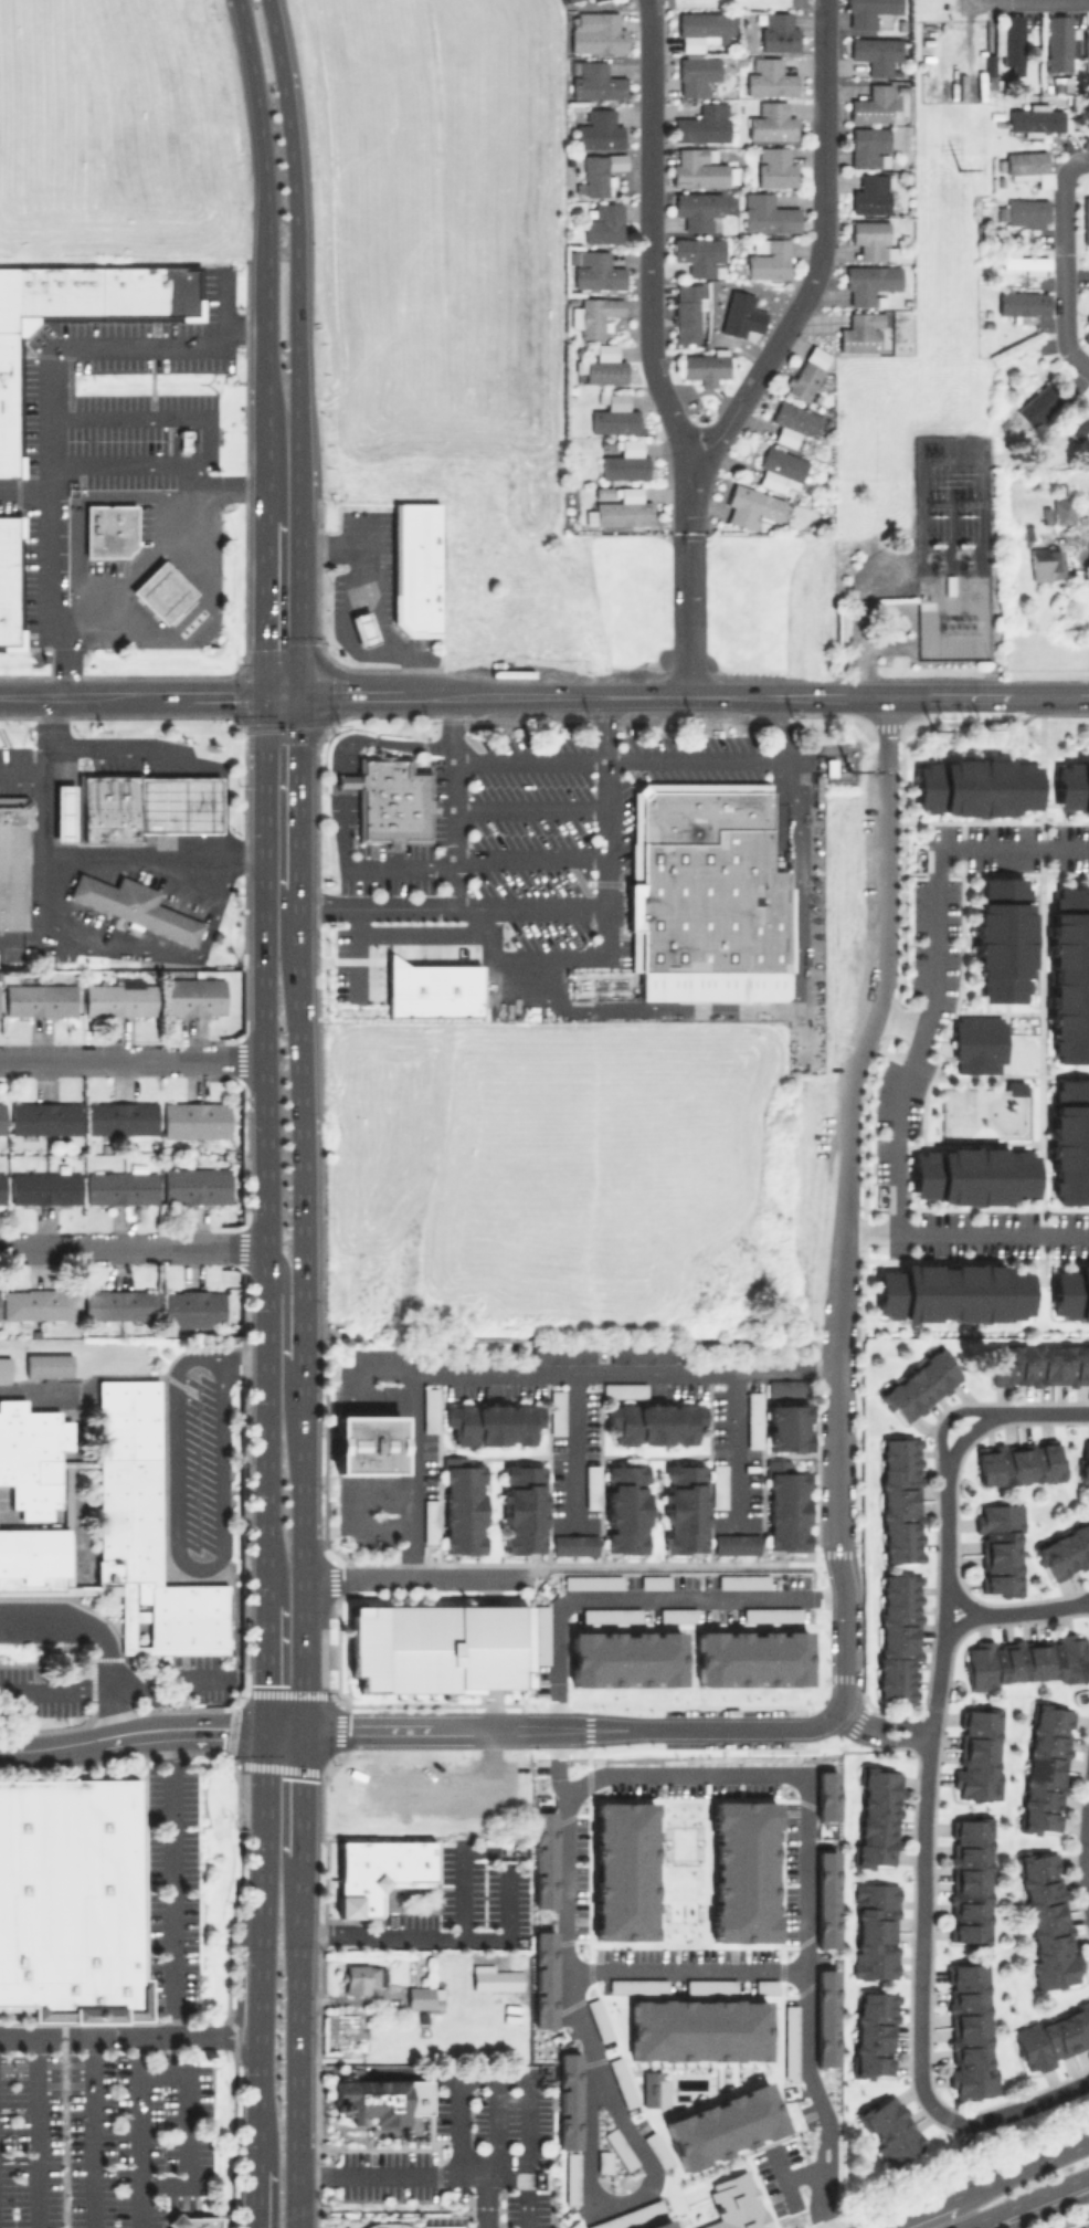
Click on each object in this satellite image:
building: (565, 0)
building: (569, 0)
building: (871, 12)
building: (1088, 23)
building: (704, 27)
building: (596, 31)
building: (778, 31)
building: (1012, 38)
building: (1061, 41)
building: (875, 53)
building: (990, 70)
building: (697, 72)
building: (770, 77)
building: (596, 80)
building: (1061, 82)
building: (871, 103)
building: (1035, 117)
building: (772, 120)
building: (702, 123)
building: (599, 128)
road: (261, 129)
building: (869, 145)
building: (774, 166)
building: (1029, 166)
building: (697, 167)
building: (599, 171)
building: (870, 193)
building: (697, 208)
building: (1027, 211)
building: (1003, 212)
building: (768, 213)
building: (1086, 217)
building: (604, 222)
building: (871, 238)
road: (296, 245)
road: (821, 253)
building: (699, 254)
building: (768, 258)
road: (1062, 259)
building: (1024, 261)
building: (598, 270)
building: (870, 281)
road: (223, 297)
building: (1023, 303)
building: (687, 311)
building: (81, 314)
building: (594, 314)
building: (737, 315)
building: (1088, 316)
road: (244, 325)
building: (861, 332)
building: (1086, 335)
building: (1034, 339)
road: (649, 349)
building: (1008, 350)
building: (601, 365)
building: (705, 366)
building: (806, 372)
building: (1039, 403)
road: (126, 414)
building: (614, 414)
building: (793, 422)
building: (1078, 422)
building: (825, 424)
parking lot: (106, 429)
road: (49, 430)
building: (162, 448)
road: (204, 448)
building: (1044, 452)
building: (624, 459)
road: (160, 465)
building: (780, 469)
road: (264, 479)
road: (24, 490)
building: (750, 505)
building: (620, 506)
building: (1062, 511)
building: (1046, 513)
building: (823, 526)
building: (108, 528)
building: (1028, 532)
road: (366, 533)
power substation: (951, 547)
building: (1046, 563)
building: (415, 567)
road: (131, 571)
building: (9, 581)
building: (949, 584)
building: (160, 591)
gas station: (160, 591)
road: (299, 593)
road: (370, 602)
building: (927, 605)
road: (191, 617)
road: (859, 618)
building: (362, 628)
gas station: (362, 628)
road: (884, 647)
road: (939, 692)
road: (618, 693)
road: (355, 694)
traffic signals: (299, 695)
road: (131, 696)
traffic signals: (263, 696)
road: (789, 727)
road: (43, 734)
road: (382, 740)
road: (125, 747)
road: (618, 760)
building: (828, 766)
road: (21, 771)
road: (346, 780)
building: (974, 786)
building: (1072, 786)
building: (389, 799)
road: (450, 799)
building: (177, 805)
gas station: (177, 805)
road: (178, 805)
building: (106, 806)
road: (527, 807)
building: (63, 812)
road: (343, 827)
road: (178, 842)
road: (154, 852)
parking lot: (515, 852)
road: (43, 854)
building: (12, 858)
road: (527, 859)
road: (398, 866)
building: (705, 894)
road: (117, 898)
road: (528, 904)
road: (215, 905)
building: (135, 906)
road: (374, 906)
road: (606, 915)
road: (488, 919)
road: (385, 934)
building: (215, 936)
road: (21, 938)
building: (1001, 939)
road: (74, 942)
road: (151, 949)
road: (349, 966)
road: (939, 969)
building: (1069, 976)
building: (430, 989)
building: (193, 996)
building: (118, 998)
building: (39, 999)
road: (774, 1010)
road: (871, 1015)
road: (898, 1023)
building: (977, 1043)
road: (133, 1058)
building: (1013, 1087)
park: (972, 1115)
building: (44, 1117)
building: (1, 1120)
building: (119, 1120)
building: (194, 1120)
road: (266, 1135)
building: (1069, 1142)
building: (972, 1175)
building: (194, 1185)
building: (1, 1186)
building: (44, 1187)
building: (120, 1187)
road: (867, 1232)
road: (991, 1232)
road: (134, 1244)
road: (289, 1288)
building: (951, 1292)
building: (1071, 1294)
building: (117, 1303)
building: (38, 1304)
building: (191, 1307)
building: (561, 1352)
building: (641, 1352)
road: (232, 1356)
building: (1037, 1363)
building: (46, 1365)
building: (4, 1368)
road: (600, 1370)
building: (918, 1383)
building: (785, 1387)
building: (623, 1388)
building: (429, 1407)
building: (556, 1411)
road: (949, 1416)
building: (753, 1418)
building: (654, 1420)
building: (491, 1421)
building: (787, 1425)
building: (366, 1443)
road: (303, 1446)
road: (734, 1447)
road: (573, 1449)
road: (839, 1450)
building: (1083, 1460)
building: (1017, 1461)
parking lot: (198, 1463)
road: (411, 1475)
building: (591, 1484)
building: (718, 1484)
building: (898, 1497)
building: (462, 1504)
building: (684, 1505)
building: (785, 1505)
building: (521, 1506)
building: (624, 1506)
building: (102, 1520)
building: (429, 1520)
road: (222, 1543)
building: (573, 1543)
building: (736, 1543)
building: (998, 1545)
building: (1064, 1548)
road: (417, 1576)
road: (1081, 1599)
road: (965, 1602)
road: (639, 1607)
road: (1037, 1610)
road: (77, 1617)
road: (961, 1626)
building: (896, 1636)
building: (436, 1647)
building: (633, 1650)
building: (758, 1650)
road: (265, 1651)
road: (844, 1653)
building: (1024, 1660)
parking lot: (205, 1677)
road: (167, 1686)
road: (55, 1688)
parking lot: (30, 1693)
road: (114, 1710)
road: (898, 1724)
road: (142, 1727)
road: (216, 1727)
traffic signals: (263, 1728)
road: (553, 1728)
traffic signals: (304, 1730)
road: (896, 1740)
road: (59, 1744)
building: (975, 1754)
building: (1044, 1767)
road: (770, 1769)
road: (927, 1790)
road: (461, 1805)
building: (874, 1816)
road: (262, 1839)
road: (1087, 1859)
building: (376, 1870)
building: (971, 1880)
road: (170, 1882)
parking lot: (170, 1888)
road: (462, 1888)
building: (71, 1900)
building: (1046, 1919)
building: (878, 1931)
road: (438, 1935)
road: (261, 1958)
building: (359, 1977)
building: (494, 1977)
road: (803, 1982)
building: (422, 1996)
road: (241, 2008)
building: (705, 2020)
building: (971, 2031)
building: (880, 2032)
road: (104, 2037)
building: (1051, 2037)
road: (237, 2047)
road: (590, 2060)
road: (260, 2068)
road: (508, 2075)
building: (369, 2100)
building: (730, 2116)
building: (889, 2119)
road: (184, 2127)
building: (370, 2129)
building: (408, 2129)
road: (34, 2132)
road: (87, 2132)
road: (137, 2132)
parking lot: (102, 2137)
parking lot: (467, 2163)
road: (1021, 2169)
road: (417, 2172)
road: (794, 2173)
road: (258, 2185)
road: (526, 2194)
building: (739, 2200)
road: (1021, 2200)
road: (296, 2213)
road: (914, 2213)
road: (257, 2214)
building: (191, 2220)
road: (372, 2224)
parking lot: (1082, 2225)
road: (356, 2226)

